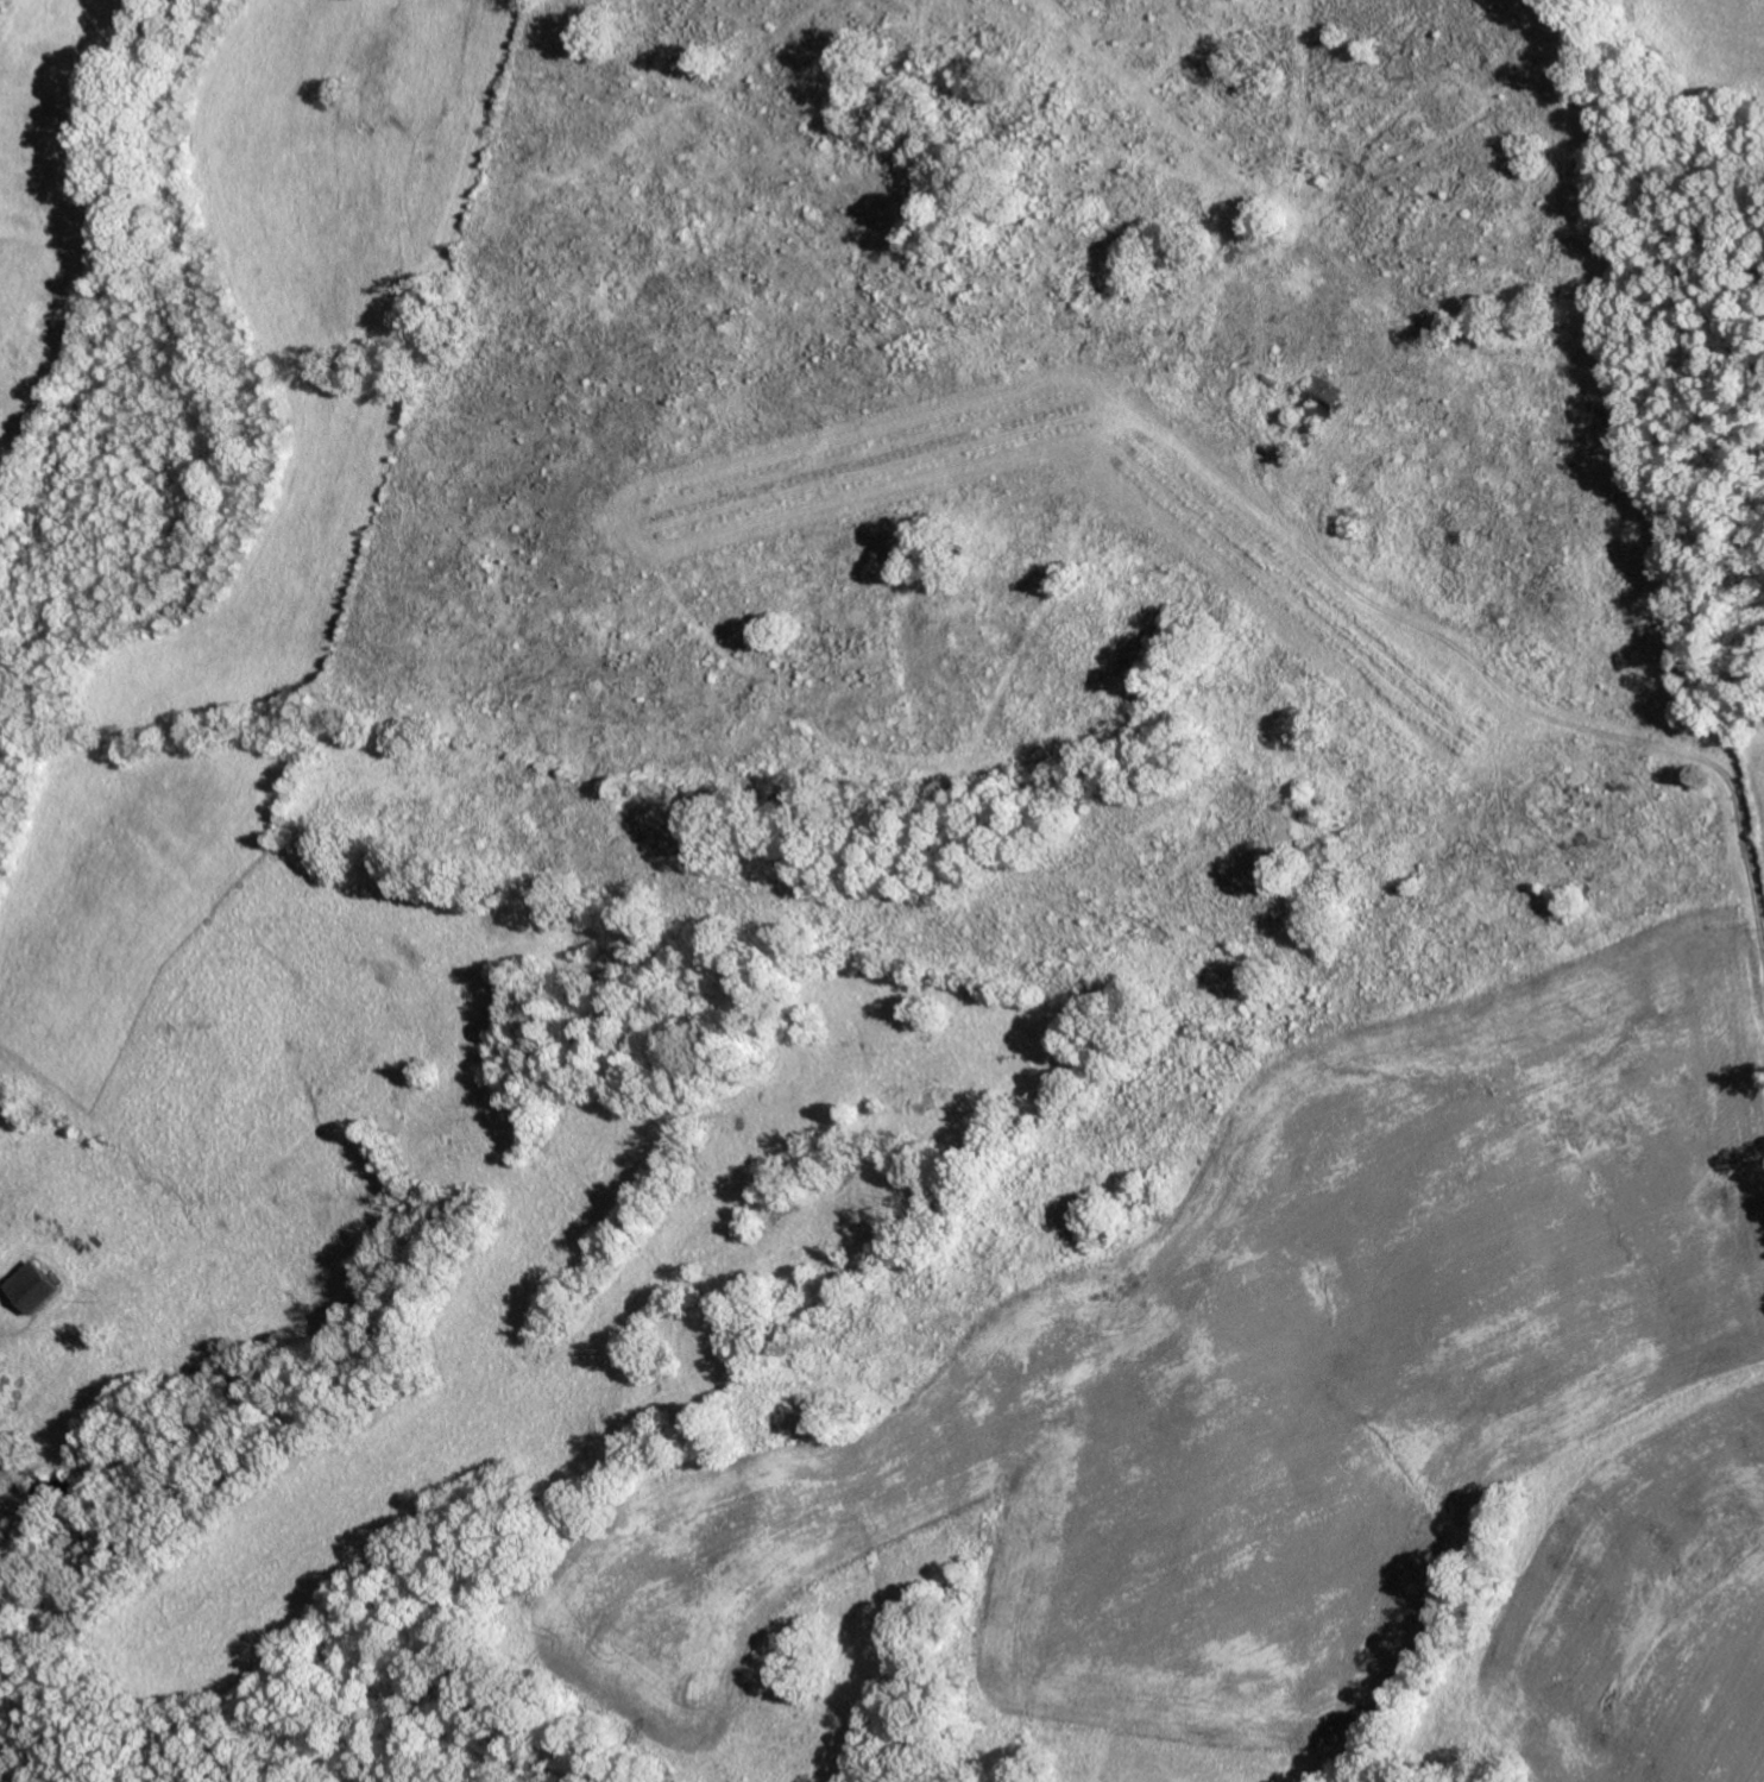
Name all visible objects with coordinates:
building: (33, 1285)

